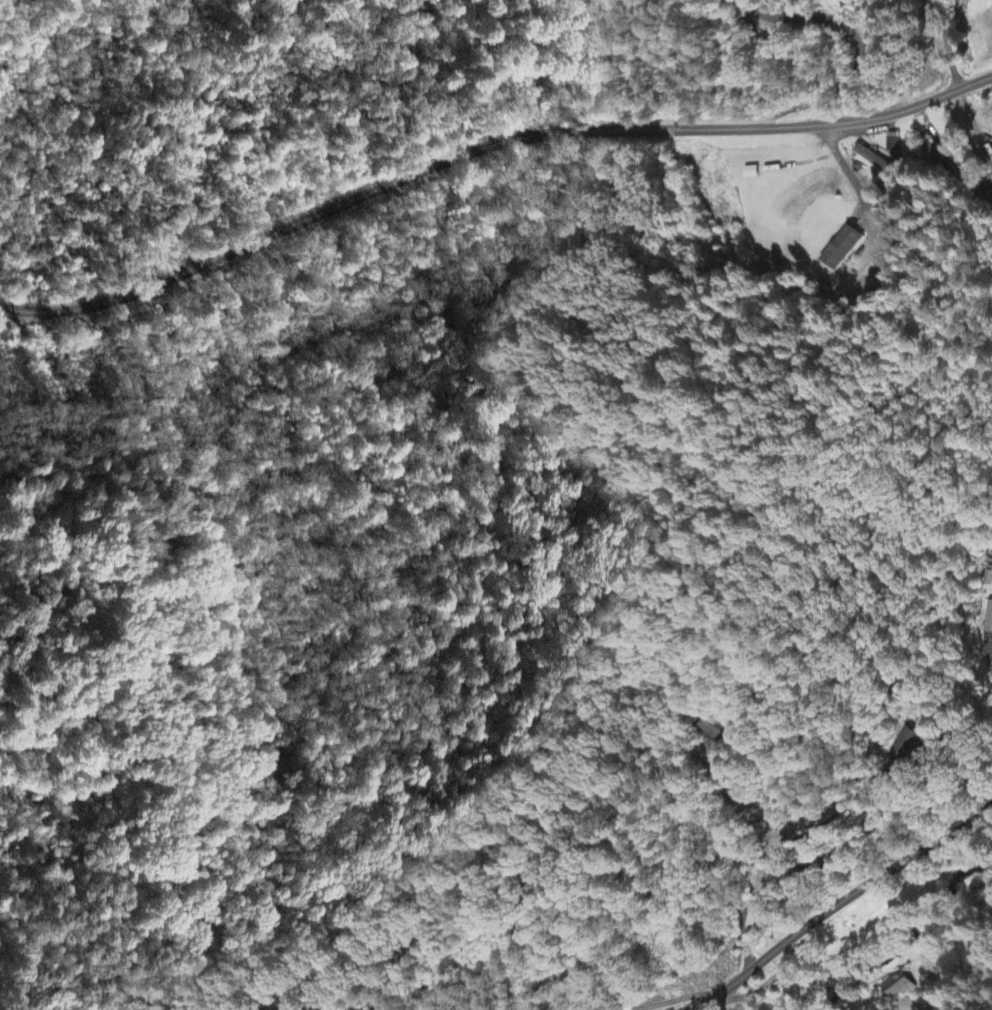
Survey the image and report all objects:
road: (592, 74)
building: (892, 145)
building: (936, 160)
building: (874, 161)
road: (494, 191)
building: (991, 195)
road: (540, 223)
building: (842, 249)
building: (988, 619)
building: (713, 731)
building: (908, 744)
road: (838, 905)
park: (308, 981)
road: (660, 1001)

